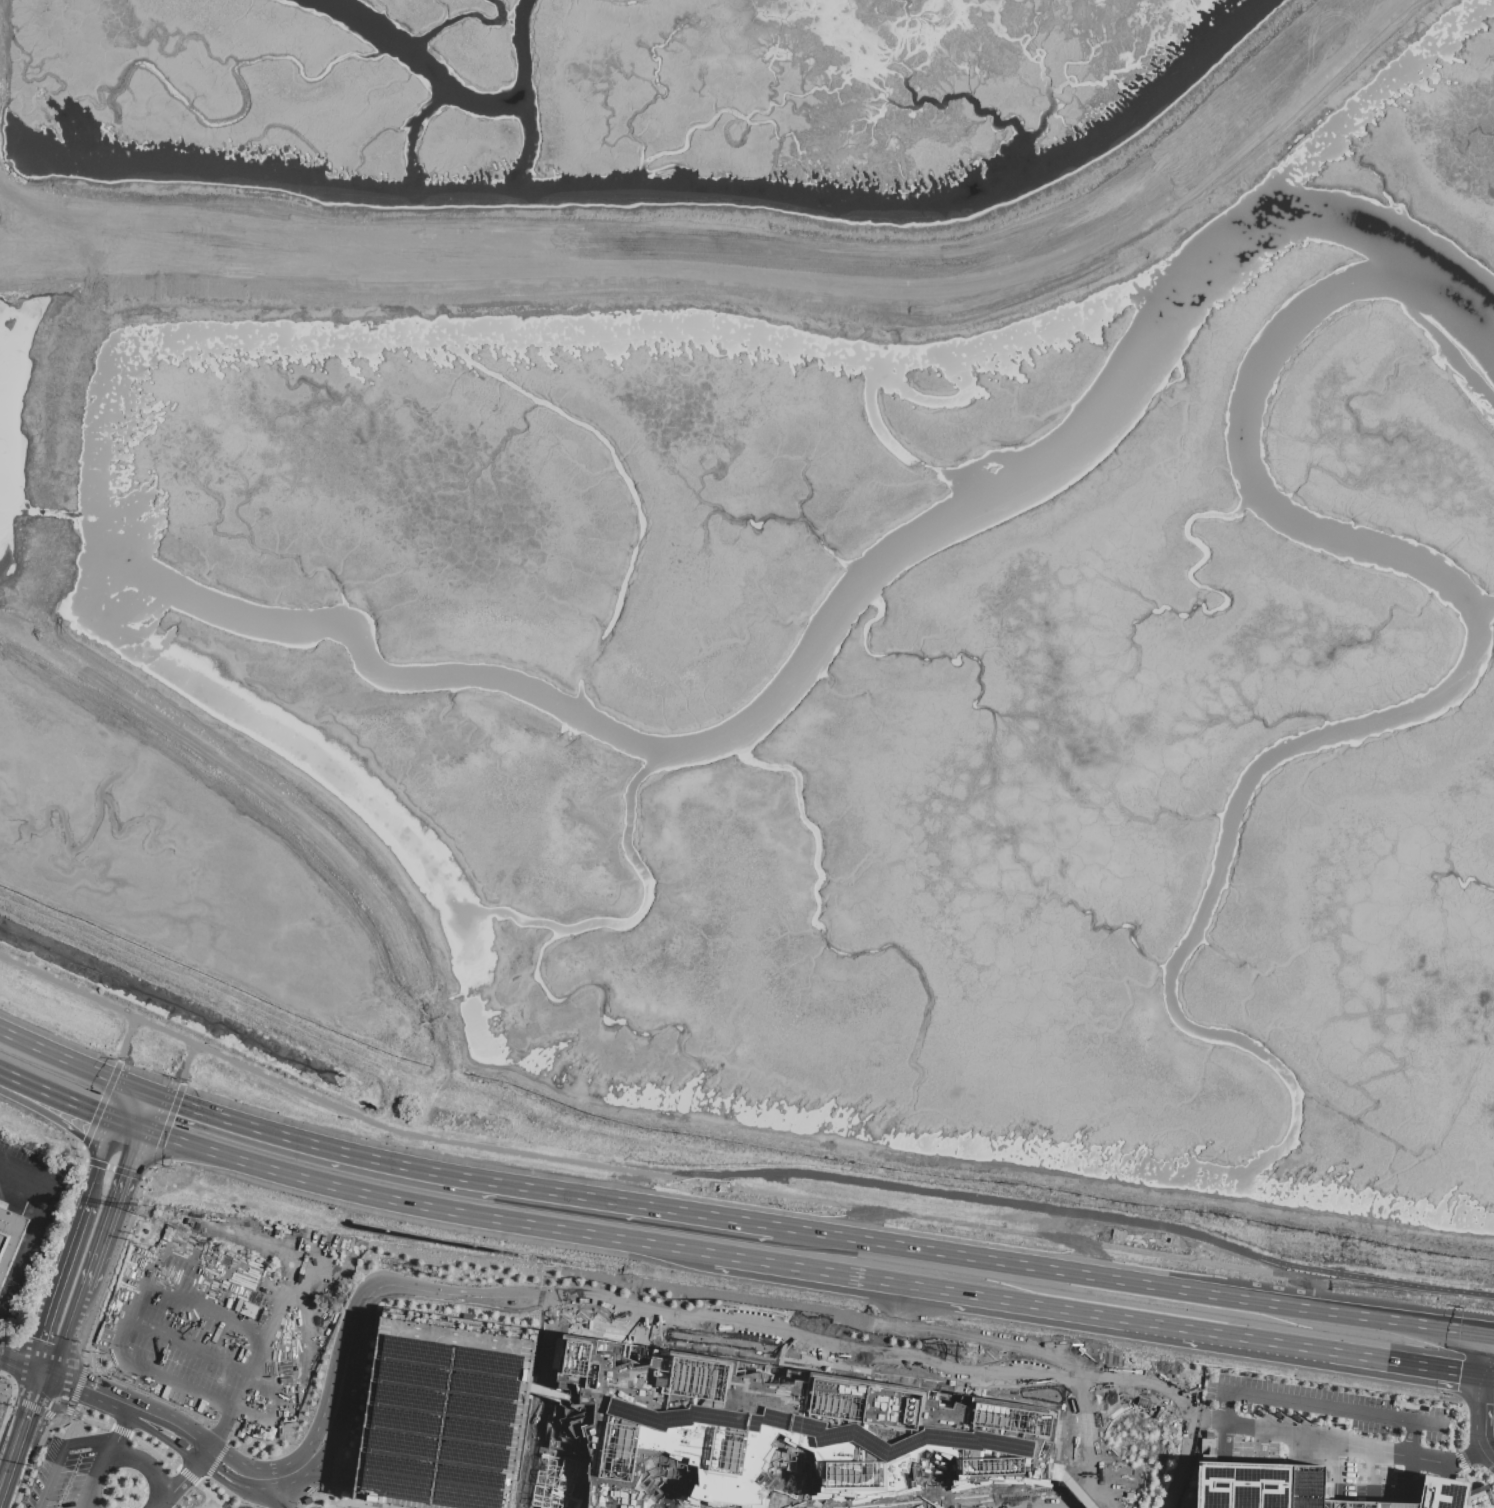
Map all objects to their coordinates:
road: (700, 216)
road: (619, 291)
road: (278, 803)
road: (126, 1039)
road: (74, 1063)
road: (186, 1063)
road: (123, 1073)
road: (165, 1089)
road: (57, 1096)
road: (99, 1103)
traffic signals: (178, 1104)
traffic signals: (92, 1111)
road: (166, 1124)
road: (727, 1143)
road: (83, 1153)
road: (114, 1169)
road: (732, 1173)
traffic signals: (122, 1176)
road: (456, 1177)
road: (116, 1190)
road: (410, 1204)
power tower: (143, 1212)
parking lot: (30, 1219)
road: (78, 1227)
road: (38, 1231)
building: (9, 1236)
road: (1131, 1239)
road: (299, 1254)
road: (206, 1262)
parking lot: (358, 1262)
street lamp: (158, 1269)
power tower: (436, 1274)
road: (1130, 1285)
road: (918, 1287)
road: (98, 1307)
road: (207, 1307)
road: (748, 1308)
parking lot: (738, 1313)
street lamp: (264, 1316)
road: (555, 1320)
street lamp: (188, 1322)
road: (68, 1328)
road: (783, 1333)
road: (1226, 1336)
parking lot: (209, 1337)
road: (7, 1339)
traffic signals: (40, 1339)
street lamp: (330, 1339)
road: (813, 1342)
traffic signals: (1490, 1342)
road: (1492, 1342)
street lamp: (4, 1343)
road: (634, 1343)
street lamp: (126, 1346)
road: (198, 1349)
power tower: (971, 1355)
road: (273, 1357)
parking lot: (835, 1358)
road: (11, 1359)
traffic signals: (11, 1362)
road: (14, 1363)
road: (1406, 1365)
road: (41, 1369)
road: (800, 1369)
street lamp: (322, 1371)
road: (153, 1376)
traffic signals: (1484, 1378)
road: (1489, 1378)
traffic signals: (80, 1380)
park: (1340, 1388)
road: (943, 1390)
road: (1483, 1394)
road: (32, 1396)
road: (10, 1398)
parking lot: (2, 1401)
road: (132, 1403)
street lamp: (261, 1403)
traffic signals: (42, 1405)
road: (1316, 1405)
road: (36, 1408)
building: (444, 1410)
road: (14, 1413)
park: (1317, 1420)
building: (773, 1429)
street lamp: (137, 1430)
parking lot: (1327, 1434)
road: (1452, 1434)
park: (1447, 1435)
road: (1406, 1437)
road: (30, 1439)
road: (145, 1444)
street lamp: (295, 1444)
street lamp: (232, 1446)
road: (1490, 1450)
street lamp: (80, 1452)
road: (105, 1454)
road: (61, 1455)
road: (33, 1456)
street lamp: (178, 1458)
street lamp: (270, 1458)
road: (197, 1459)
road: (1459, 1460)
road: (1184, 1461)
power tower: (39, 1464)
street lamp: (1476, 1465)
road: (146, 1467)
road: (242, 1475)
parking lot: (66, 1477)
road: (1468, 1477)
street lamp: (209, 1480)
street lamp: (320, 1485)
solar farm: (1262, 1486)
street lamp: (27, 1487)
building: (555, 1487)
park: (1056, 1489)
building: (1312, 1489)
road: (786, 1490)
road: (1066, 1490)
road: (1078, 1490)
park: (1029, 1491)
park: (990, 1492)
park: (800, 1495)
road: (1045, 1500)
road: (206, 1502)
road: (350, 1502)
street lamp: (246, 1503)
street lamp: (297, 1503)
park: (679, 1503)
road: (954, 1504)
road: (84, 1505)
park: (772, 1505)
street lamp: (263, 1507)

